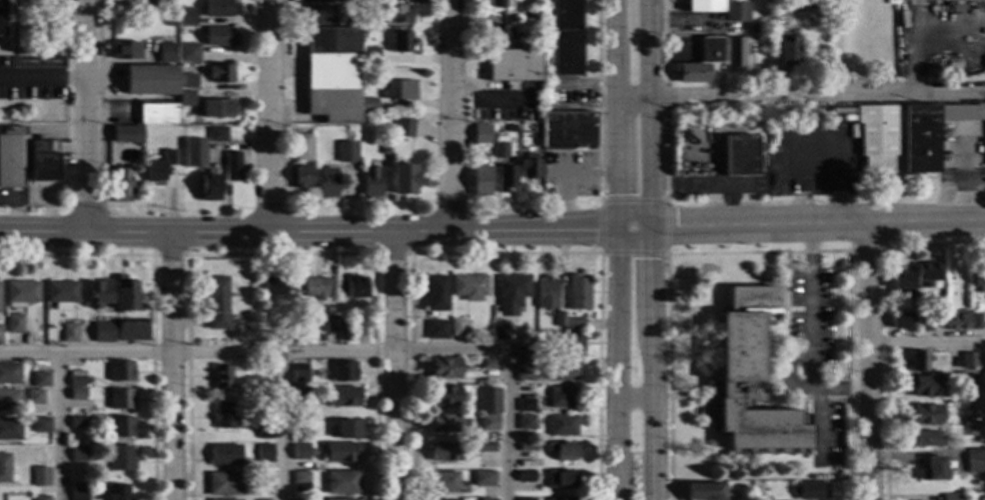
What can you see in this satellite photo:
building: (780, 0)
building: (954, 0)
building: (496, 4)
road: (615, 4)
road: (648, 4)
building: (704, 6)
building: (218, 8)
road: (632, 8)
building: (780, 9)
building: (736, 12)
building: (397, 14)
building: (317, 16)
building: (186, 17)
building: (1, 18)
building: (515, 18)
building: (363, 22)
road: (916, 22)
building: (169, 23)
building: (179, 29)
building: (498, 34)
building: (218, 38)
building: (565, 38)
road: (664, 41)
building: (400, 43)
building: (125, 51)
building: (188, 53)
building: (165, 54)
building: (734, 54)
building: (787, 55)
building: (368, 57)
building: (701, 62)
building: (512, 65)
building: (219, 73)
building: (331, 75)
road: (42, 79)
building: (150, 80)
building: (187, 81)
building: (398, 90)
road: (800, 95)
building: (185, 99)
road: (665, 99)
road: (598, 100)
building: (366, 103)
building: (216, 108)
road: (84, 115)
building: (157, 115)
road: (267, 116)
road: (448, 116)
building: (403, 126)
building: (510, 128)
building: (567, 130)
building: (496, 131)
building: (479, 133)
building: (929, 133)
building: (125, 134)
building: (216, 135)
building: (875, 138)
building: (384, 147)
building: (983, 147)
building: (302, 148)
building: (500, 150)
building: (346, 152)
building: (194, 154)
building: (12, 156)
building: (738, 156)
road: (665, 158)
building: (43, 161)
building: (232, 167)
building: (528, 167)
building: (157, 168)
building: (302, 177)
road: (566, 178)
building: (404, 179)
building: (504, 179)
building: (480, 182)
building: (371, 183)
building: (326, 184)
building: (119, 185)
building: (209, 188)
building: (595, 194)
road: (599, 227)
road: (665, 227)
road: (492, 231)
road: (865, 251)
road: (757, 252)
road: (280, 254)
road: (391, 254)
road: (503, 254)
road: (617, 254)
road: (649, 254)
road: (167, 255)
building: (925, 274)
building: (900, 282)
building: (977, 282)
building: (275, 286)
building: (354, 287)
building: (468, 287)
building: (316, 288)
building: (545, 289)
building: (21, 293)
building: (98, 293)
building: (435, 293)
building: (510, 293)
building: (576, 293)
building: (61, 294)
building: (124, 295)
building: (963, 299)
road: (150, 302)
building: (215, 302)
parking lot: (811, 309)
building: (558, 320)
building: (955, 320)
building: (897, 321)
building: (975, 322)
building: (14, 324)
building: (319, 324)
building: (331, 324)
building: (574, 324)
road: (883, 324)
building: (923, 324)
building: (458, 327)
building: (131, 330)
building: (436, 330)
building: (501, 331)
building: (247, 332)
building: (69, 333)
building: (103, 333)
building: (344, 333)
building: (0, 334)
building: (285, 335)
road: (785, 337)
building: (326, 339)
building: (484, 339)
road: (810, 340)
road: (927, 340)
building: (565, 345)
road: (326, 353)
building: (523, 353)
building: (966, 360)
road: (869, 361)
building: (917, 362)
building: (486, 364)
road: (171, 366)
road: (394, 366)
building: (443, 368)
building: (120, 371)
building: (562, 371)
building: (344, 372)
building: (300, 373)
building: (523, 373)
building: (9, 374)
building: (750, 376)
building: (221, 377)
building: (537, 377)
building: (40, 379)
building: (76, 379)
building: (542, 382)
road: (763, 384)
building: (920, 386)
building: (964, 386)
building: (262, 393)
building: (77, 394)
building: (444, 396)
road: (701, 396)
building: (300, 397)
building: (343, 397)
building: (561, 397)
road: (836, 398)
building: (120, 399)
building: (10, 400)
building: (34, 400)
building: (488, 400)
road: (635, 401)
building: (266, 406)
building: (525, 406)
road: (824, 406)
building: (922, 415)
building: (224, 416)
building: (77, 422)
building: (526, 422)
building: (488, 423)
building: (444, 424)
building: (40, 425)
building: (561, 426)
road: (817, 426)
road: (59, 427)
building: (121, 427)
road: (283, 427)
building: (9, 429)
building: (347, 430)
building: (969, 430)
building: (264, 433)
building: (300, 433)
parking lot: (824, 435)
building: (925, 439)
building: (486, 447)
building: (526, 447)
building: (263, 449)
building: (562, 451)
building: (300, 452)
building: (340, 452)
building: (444, 452)
building: (78, 454)
building: (224, 455)
building: (984, 457)
building: (121, 458)
building: (974, 462)
building: (5, 470)
building: (934, 470)
building: (525, 476)
building: (39, 477)
building: (483, 478)
building: (264, 480)
building: (561, 480)
building: (300, 482)
building: (340, 483)
building: (444, 483)
building: (224, 484)
building: (809, 490)
building: (78, 492)
building: (117, 492)
building: (705, 492)
building: (951, 497)
building: (40, 498)
building: (341, 499)
building: (487, 499)
building: (526, 499)
building: (563, 499)
building: (762, 499)

